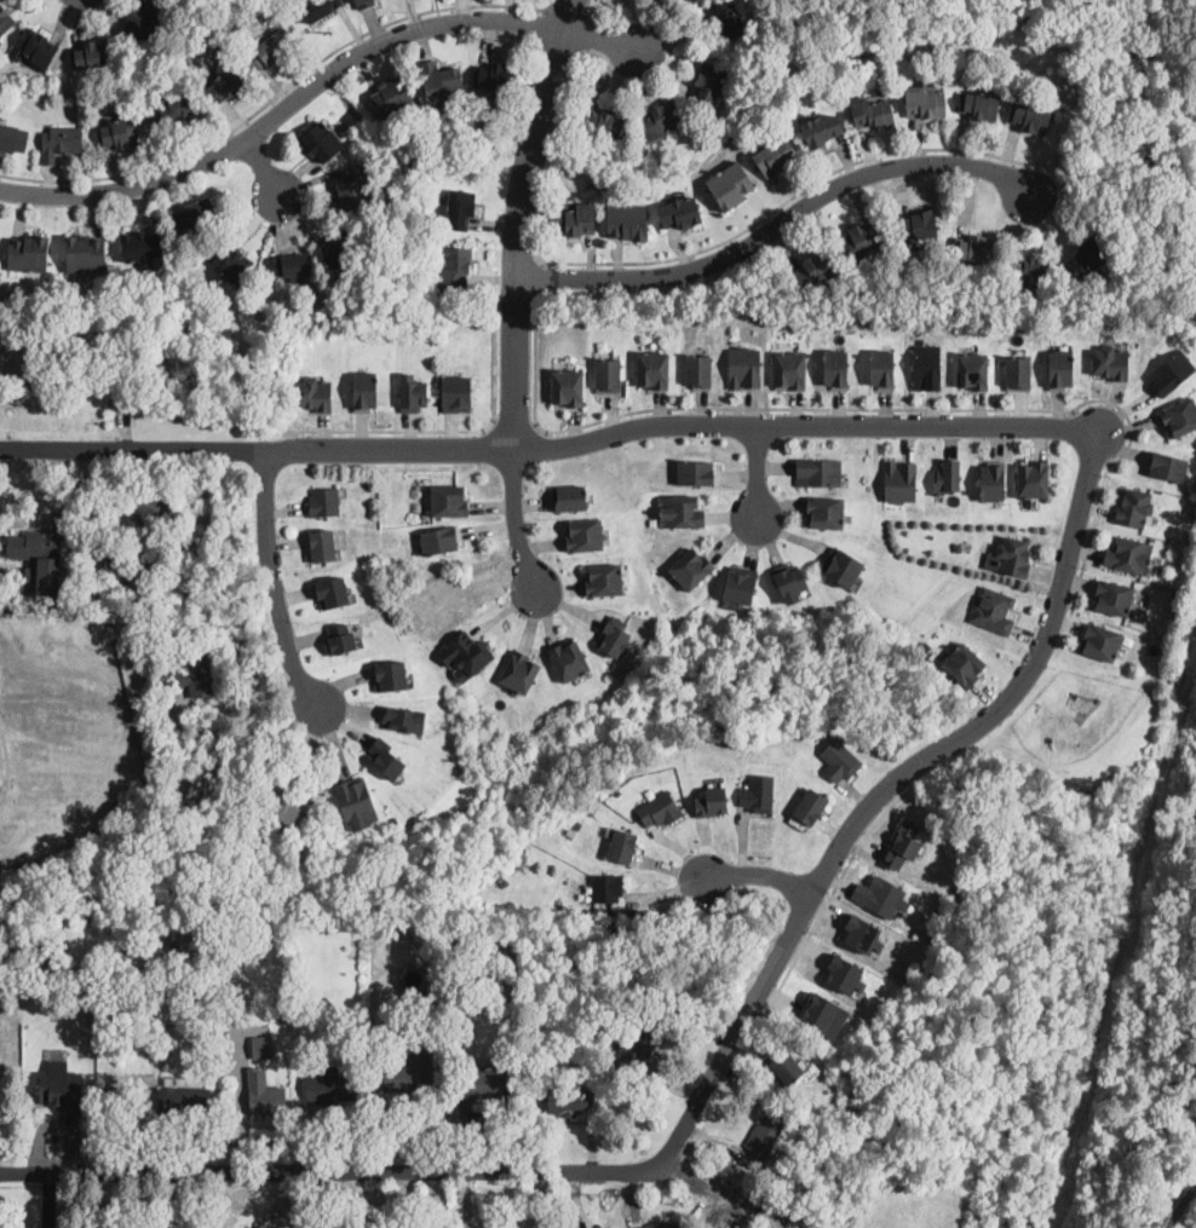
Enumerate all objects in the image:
building: (692, 1)
building: (363, 2)
building: (318, 8)
road: (571, 12)
road: (593, 12)
building: (5, 21)
building: (143, 21)
building: (726, 21)
building: (224, 29)
road: (590, 35)
building: (34, 48)
building: (268, 52)
building: (92, 53)
building: (495, 76)
building: (439, 79)
road: (315, 85)
building: (709, 85)
building: (226, 86)
road: (280, 93)
building: (392, 96)
building: (925, 102)
building: (979, 106)
building: (169, 111)
building: (872, 113)
building: (1030, 119)
building: (661, 120)
building: (604, 122)
building: (821, 131)
building: (119, 132)
building: (12, 138)
building: (61, 142)
building: (322, 142)
building: (775, 157)
road: (264, 166)
building: (730, 185)
building: (351, 188)
building: (461, 209)
building: (195, 213)
building: (682, 213)
building: (574, 219)
building: (628, 221)
road: (783, 224)
building: (918, 224)
building: (862, 238)
building: (338, 246)
building: (142, 249)
building: (974, 249)
building: (29, 254)
building: (84, 254)
road: (685, 255)
building: (1088, 256)
building: (230, 263)
building: (289, 266)
building: (454, 267)
building: (1028, 270)
building: (815, 271)
road: (536, 277)
road: (518, 290)
building: (329, 305)
building: (25, 325)
building: (19, 357)
building: (1110, 362)
building: (144, 365)
building: (744, 367)
building: (881, 367)
building: (927, 367)
building: (654, 368)
building: (835, 368)
building: (1060, 368)
building: (789, 369)
building: (972, 369)
building: (698, 370)
building: (1018, 371)
building: (1171, 371)
building: (608, 375)
building: (568, 386)
building: (364, 388)
building: (412, 391)
building: (314, 392)
building: (458, 393)
road: (899, 408)
building: (1179, 415)
road: (680, 422)
road: (513, 425)
road: (441, 431)
road: (133, 449)
building: (1168, 465)
road: (758, 469)
building: (697, 471)
building: (818, 471)
building: (948, 475)
building: (1033, 478)
building: (901, 480)
building: (994, 480)
building: (569, 496)
building: (448, 500)
building: (323, 501)
building: (149, 507)
building: (1134, 507)
building: (679, 509)
building: (826, 511)
building: (583, 534)
building: (439, 538)
building: (322, 543)
building: (33, 546)
building: (1014, 554)
building: (1129, 554)
building: (843, 566)
building: (691, 567)
building: (69, 573)
building: (134, 573)
building: (604, 578)
building: (789, 580)
road: (274, 581)
building: (741, 583)
building: (330, 590)
building: (1114, 596)
building: (993, 607)
building: (615, 636)
building: (340, 639)
building: (1102, 641)
building: (466, 655)
building: (569, 659)
building: (965, 663)
building: (519, 671)
building: (391, 673)
building: (197, 675)
building: (160, 693)
building: (403, 716)
road: (950, 742)
building: (386, 757)
building: (840, 759)
road: (6, 761)
building: (758, 792)
building: (356, 800)
building: (712, 801)
building: (810, 806)
building: (660, 808)
building: (282, 813)
building: (570, 832)
building: (903, 844)
building: (622, 846)
road: (760, 874)
building: (606, 887)
road: (833, 890)
building: (881, 894)
building: (610, 927)
building: (374, 930)
building: (859, 932)
building: (146, 934)
building: (188, 940)
building: (462, 940)
building: (10, 952)
building: (45, 956)
park: (1073, 965)
building: (841, 972)
building: (310, 1001)
building: (435, 1007)
building: (823, 1014)
building: (132, 1030)
building: (643, 1037)
building: (260, 1044)
building: (780, 1061)
building: (140, 1068)
building: (410, 1070)
building: (484, 1085)
building: (330, 1088)
building: (62, 1090)
building: (264, 1092)
building: (184, 1100)
building: (568, 1101)
building: (765, 1132)
road: (412, 1172)
road: (1178, 1201)
building: (806, 1217)
building: (662, 1224)
building: (804, 1226)
building: (815, 1227)

